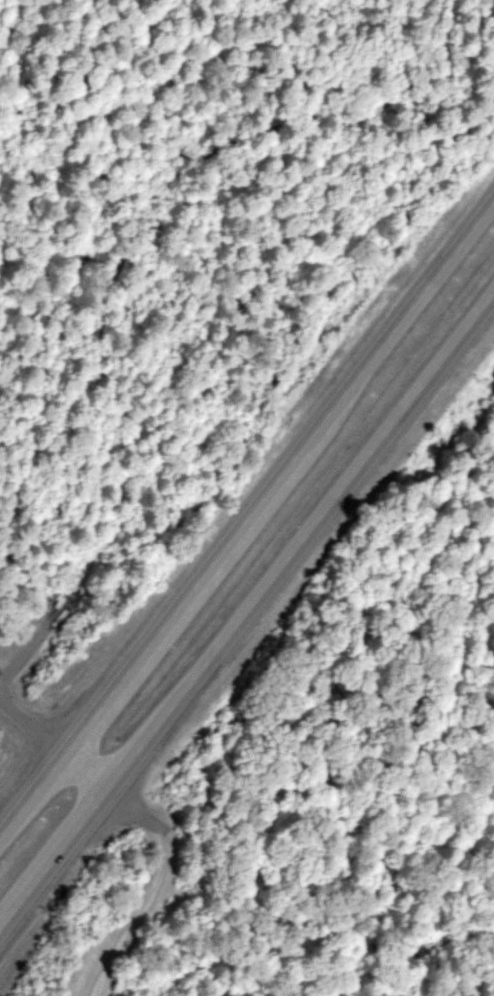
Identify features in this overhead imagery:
road: (250, 501)
road: (246, 599)
road: (27, 726)
road: (159, 858)

